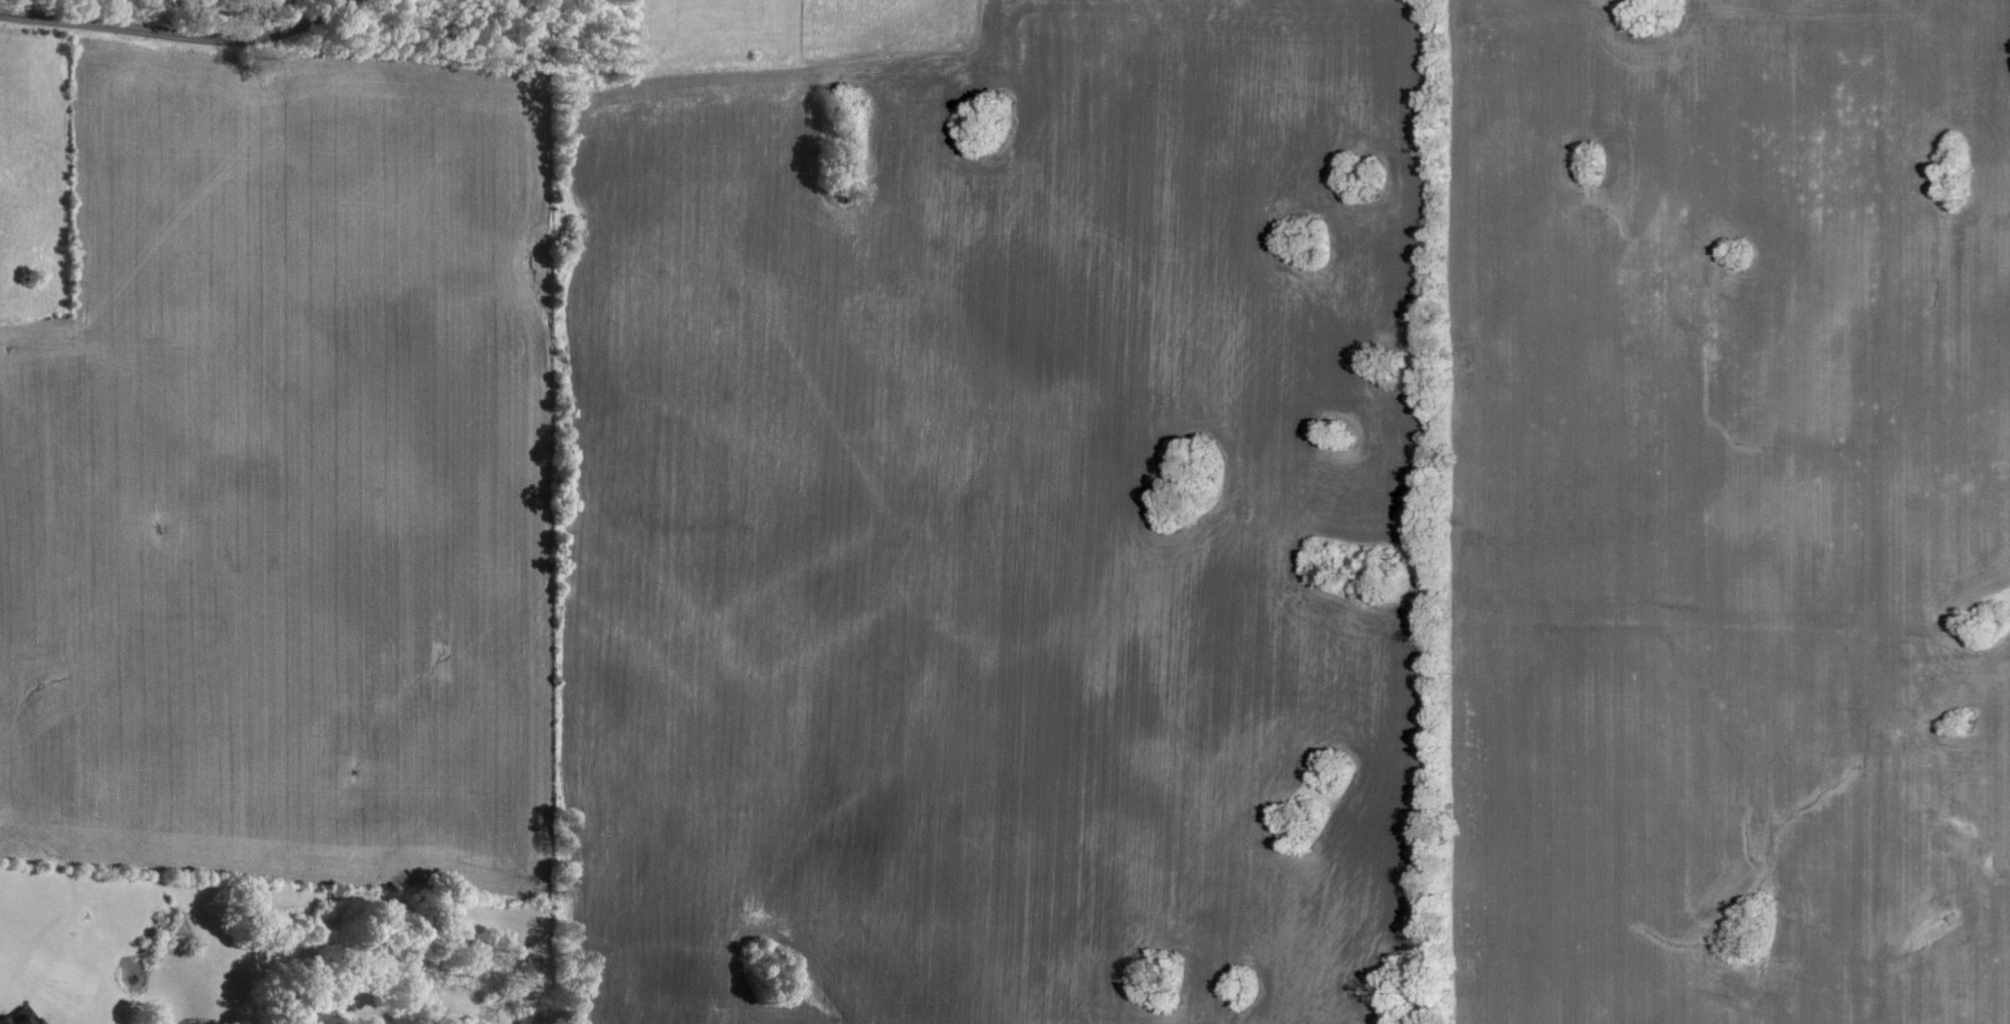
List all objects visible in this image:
road: (173, 31)
building: (23, 1017)

